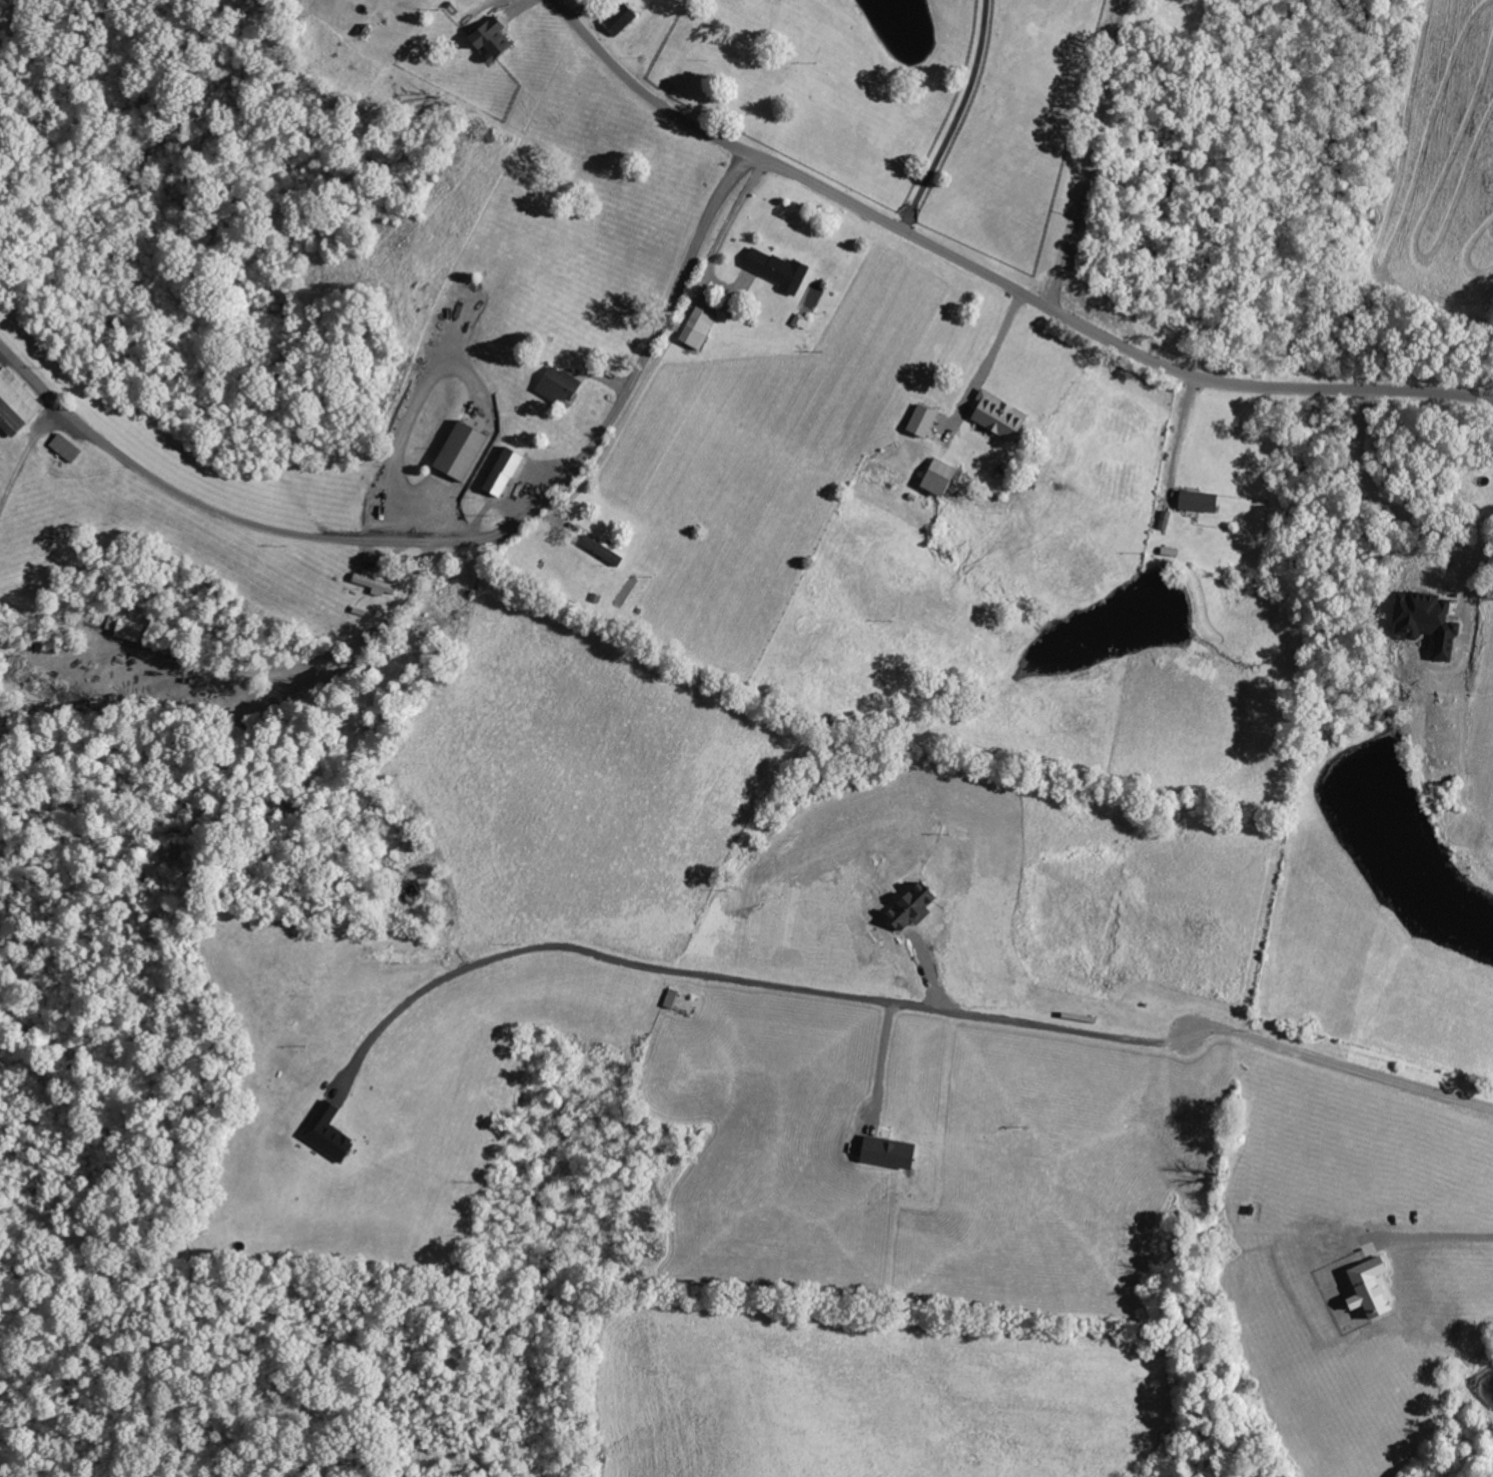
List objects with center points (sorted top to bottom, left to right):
building: (618, 18)
building: (499, 39)
road: (957, 117)
road: (728, 230)
building: (779, 270)
road: (994, 275)
road: (735, 292)
building: (700, 328)
road: (981, 374)
building: (564, 386)
building: (19, 403)
road: (625, 416)
road: (408, 417)
building: (928, 421)
building: (996, 426)
road: (1180, 443)
road: (26, 445)
building: (71, 447)
building: (466, 449)
building: (508, 470)
building: (941, 478)
building: (1201, 501)
road: (1408, 505)
road: (452, 537)
building: (603, 549)
building: (378, 583)
building: (1425, 620)
building: (130, 630)
road: (241, 671)
building: (919, 908)
road: (903, 1004)
building: (333, 1133)
building: (897, 1152)
building: (1369, 1288)
building: (1347, 1303)

